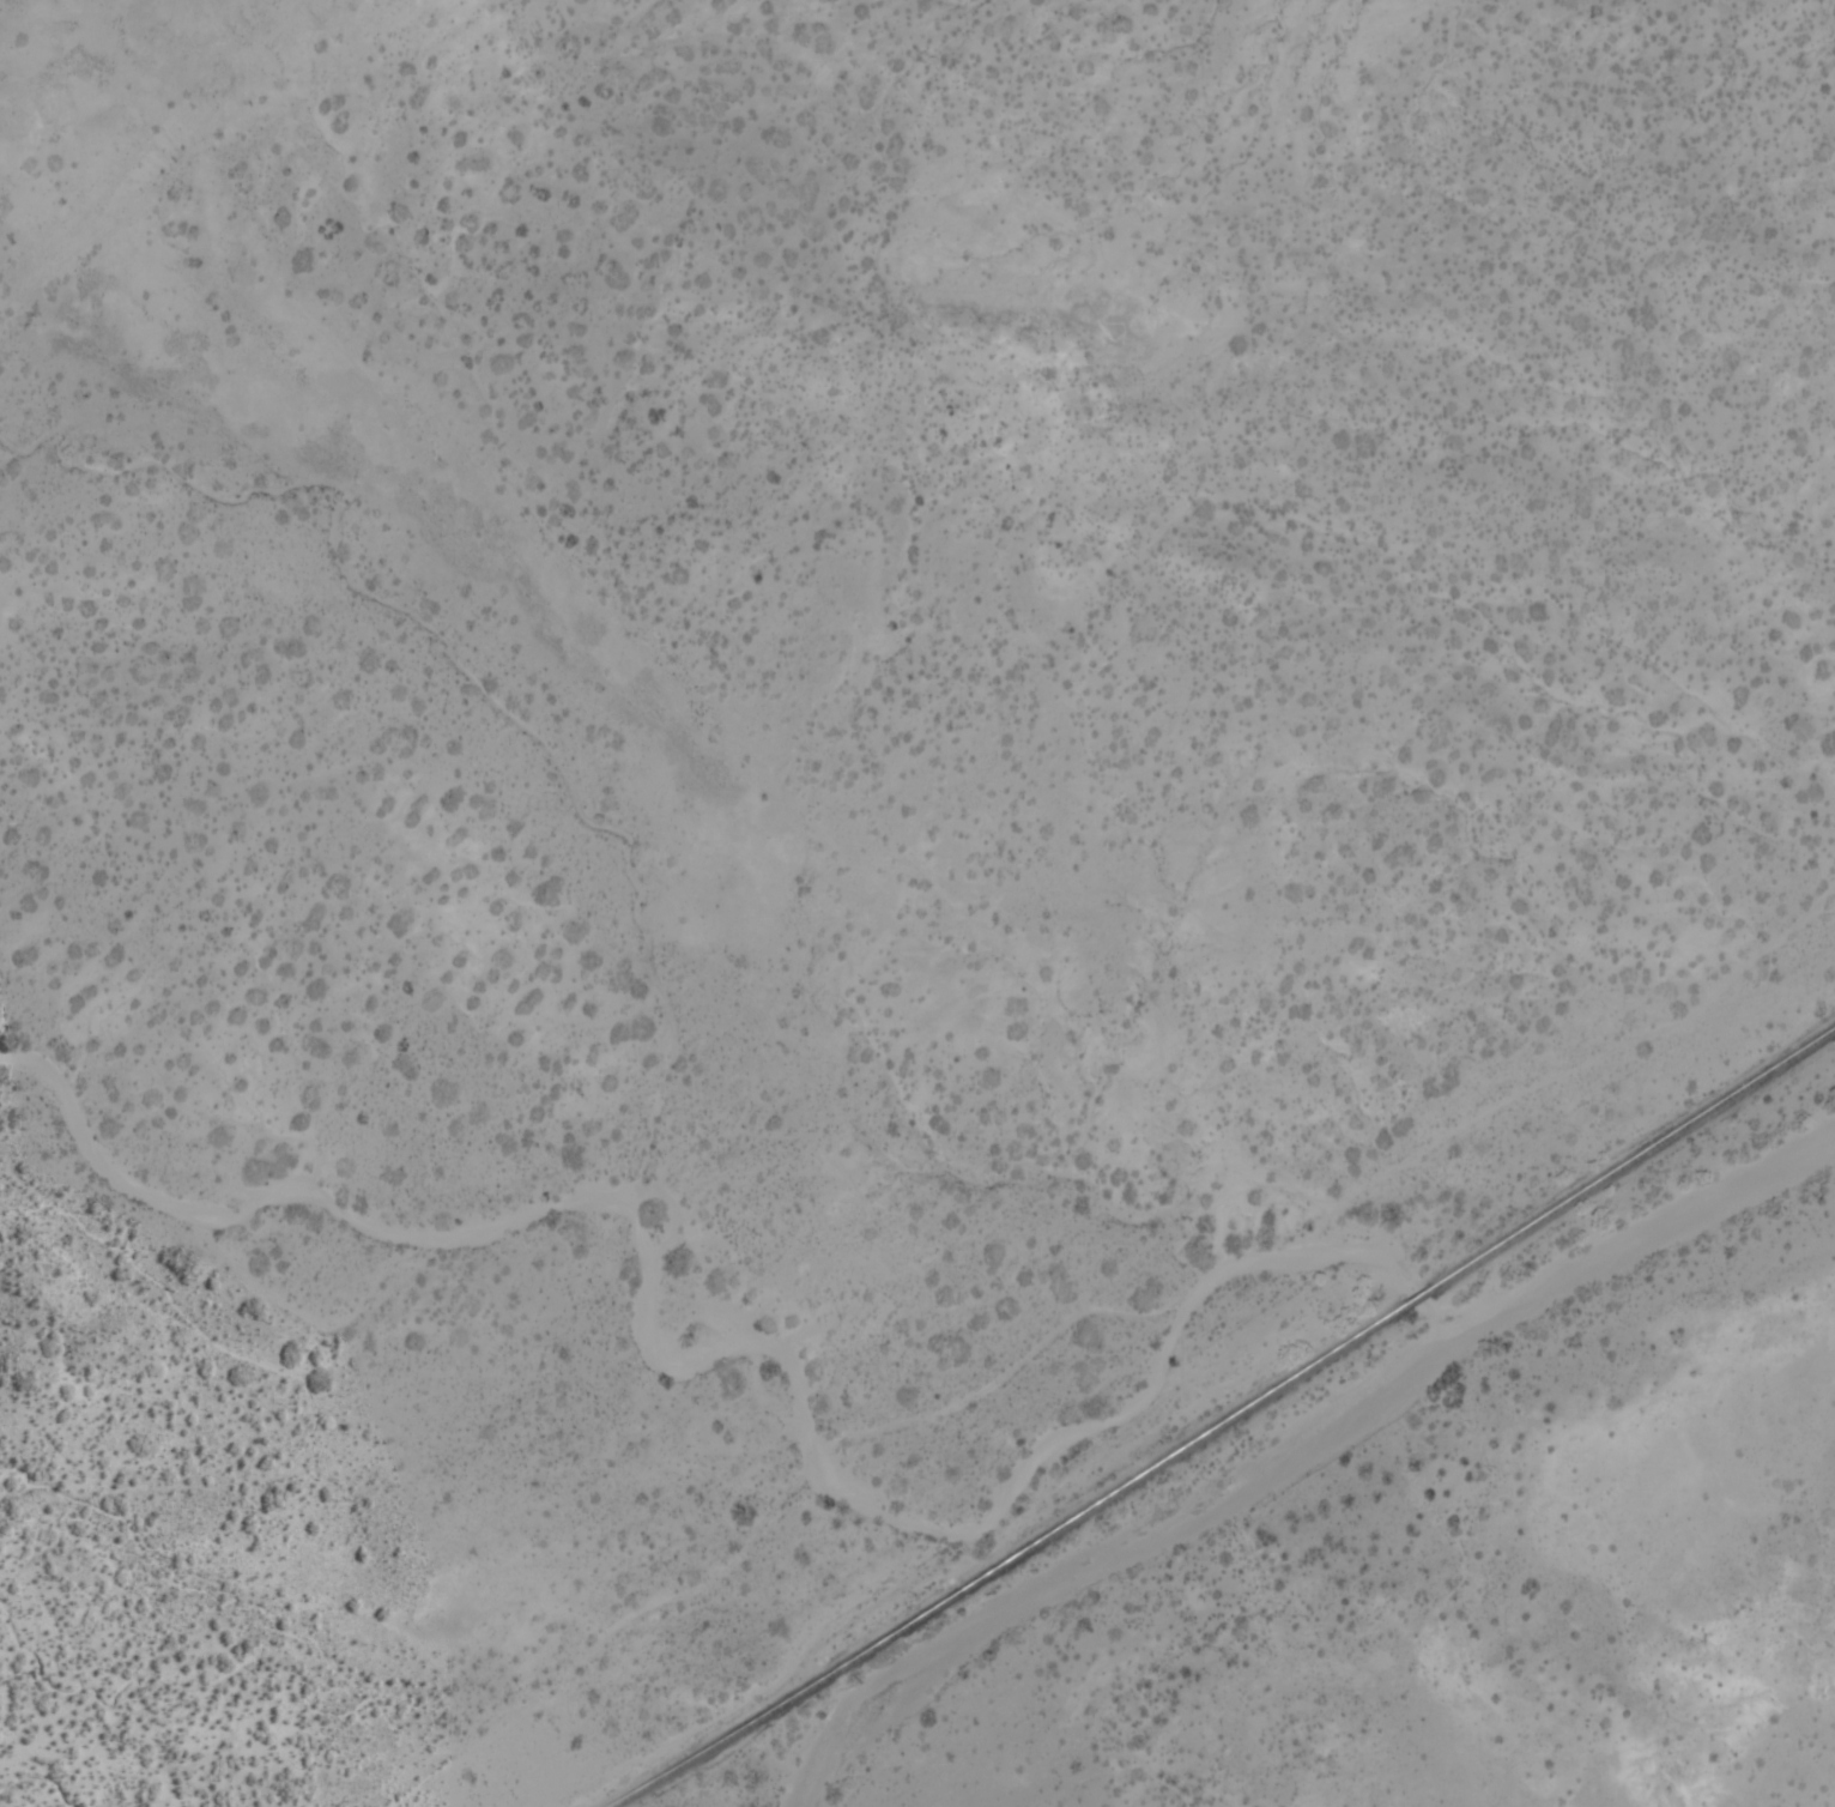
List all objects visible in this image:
railway: (1219, 1420)
river: (1306, 1448)

